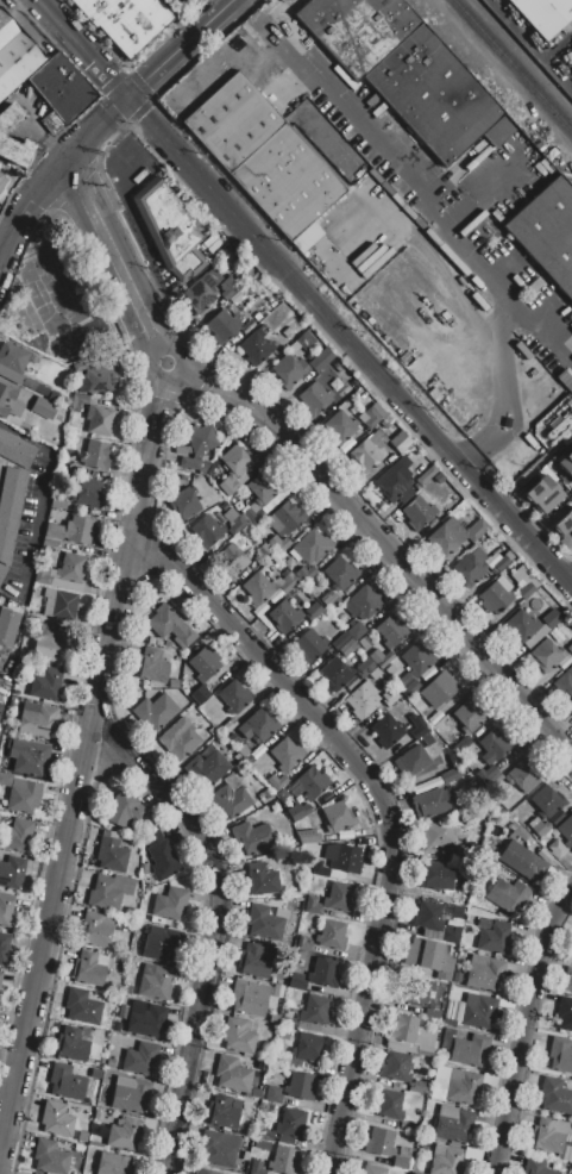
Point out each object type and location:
building: (543, 14)
building: (127, 20)
road: (82, 49)
road: (180, 49)
building: (15, 55)
railway: (513, 65)
building: (571, 67)
building: (406, 70)
building: (62, 88)
traffic signals: (127, 98)
building: (7, 126)
road: (96, 127)
road: (384, 138)
building: (263, 155)
road: (410, 169)
road: (395, 177)
building: (2, 180)
road: (478, 202)
road: (27, 211)
road: (419, 221)
building: (170, 230)
building: (547, 232)
building: (306, 237)
road: (113, 251)
road: (438, 263)
road: (504, 268)
building: (227, 288)
building: (202, 291)
park: (57, 295)
road: (545, 314)
road: (502, 317)
building: (221, 326)
building: (306, 342)
road: (348, 343)
building: (256, 346)
road: (182, 351)
building: (321, 361)
building: (15, 366)
road: (143, 369)
building: (289, 371)
building: (96, 375)
road: (178, 385)
building: (315, 399)
building: (78, 401)
building: (10, 402)
building: (44, 410)
road: (502, 411)
building: (371, 416)
building: (100, 420)
building: (340, 425)
building: (200, 439)
building: (401, 442)
building: (15, 450)
building: (369, 450)
building: (96, 455)
building: (566, 463)
building: (190, 464)
building: (234, 468)
building: (243, 479)
building: (395, 482)
building: (265, 488)
building: (88, 493)
building: (541, 494)
road: (40, 495)
building: (58, 505)
building: (184, 505)
building: (419, 512)
building: (10, 513)
building: (253, 516)
building: (287, 518)
building: (237, 525)
building: (564, 529)
building: (207, 530)
building: (477, 530)
building: (71, 531)
building: (450, 536)
building: (278, 544)
building: (314, 545)
building: (262, 552)
road: (391, 555)
building: (233, 557)
building: (272, 560)
building: (502, 563)
building: (470, 568)
building: (306, 573)
building: (340, 573)
building: (64, 574)
building: (287, 580)
road: (568, 581)
building: (258, 588)
building: (526, 591)
building: (496, 597)
building: (331, 600)
building: (363, 602)
building: (62, 605)
building: (313, 611)
building: (284, 617)
building: (552, 619)
building: (171, 625)
building: (522, 625)
building: (7, 627)
building: (392, 630)
building: (356, 631)
building: (364, 643)
building: (310, 645)
building: (54, 647)
building: (347, 647)
building: (570, 649)
building: (547, 655)
building: (384, 660)
building: (205, 664)
building: (151, 666)
building: (364, 668)
building: (415, 668)
building: (335, 673)
road: (1, 677)
building: (566, 682)
building: (174, 683)
building: (48, 685)
building: (439, 689)
building: (200, 695)
building: (389, 697)
building: (234, 698)
building: (362, 700)
building: (0, 706)
building: (156, 711)
building: (469, 717)
building: (37, 720)
building: (228, 725)
building: (258, 726)
building: (419, 727)
building: (386, 731)
building: (180, 739)
building: (494, 747)
building: (287, 755)
building: (29, 757)
building: (411, 761)
building: (206, 768)
road: (78, 775)
building: (451, 775)
building: (524, 775)
building: (276, 781)
building: (309, 783)
building: (266, 793)
building: (24, 797)
building: (231, 799)
building: (433, 801)
building: (546, 801)
road: (381, 806)
building: (300, 811)
building: (125, 812)
building: (337, 817)
building: (541, 829)
building: (566, 830)
building: (521, 833)
building: (17, 835)
building: (436, 835)
building: (307, 836)
building: (252, 837)
building: (557, 849)
building: (545, 855)
building: (113, 856)
building: (342, 857)
building: (162, 858)
building: (529, 866)
building: (320, 869)
building: (12, 873)
building: (436, 875)
building: (260, 880)
building: (109, 892)
building: (508, 894)
building: (339, 897)
building: (169, 905)
building: (313, 905)
building: (6, 911)
building: (457, 912)
building: (429, 919)
building: (264, 923)
building: (484, 923)
road: (215, 930)
building: (98, 931)
building: (451, 933)
building: (332, 935)
building: (495, 938)
building: (163, 944)
building: (4, 945)
building: (306, 947)
building: (428, 956)
building: (254, 961)
building: (89, 968)
building: (323, 973)
building: (0, 975)
building: (485, 975)
building: (457, 978)
building: (567, 980)
building: (297, 981)
building: (156, 982)
building: (416, 993)
building: (251, 998)
building: (87, 1006)
building: (434, 1010)
building: (121, 1011)
building: (315, 1011)
building: (479, 1012)
building: (565, 1014)
building: (274, 1018)
building: (146, 1019)
building: (450, 1020)
building: (289, 1023)
road: (523, 1026)
building: (404, 1029)
building: (284, 1034)
building: (238, 1037)
building: (447, 1037)
building: (423, 1041)
building: (80, 1044)
building: (306, 1050)
building: (469, 1050)
building: (560, 1054)
building: (142, 1059)
building: (109, 1063)
building: (396, 1067)
building: (96, 1074)
building: (232, 1074)
building: (489, 1081)
building: (65, 1082)
building: (301, 1086)
building: (419, 1087)
building: (458, 1087)
building: (130, 1093)
building: (274, 1094)
building: (555, 1097)
building: (389, 1104)
building: (222, 1112)
building: (57, 1120)
building: (452, 1123)
building: (290, 1125)
building: (125, 1135)
building: (82, 1137)
building: (554, 1138)
building: (381, 1142)
building: (81, 1148)
building: (220, 1149)
building: (472, 1155)
building: (50, 1157)
building: (446, 1160)
building: (283, 1161)
building: (401, 1162)
building: (114, 1164)
building: (536, 1167)
building: (373, 1169)
building: (207, 1172)

